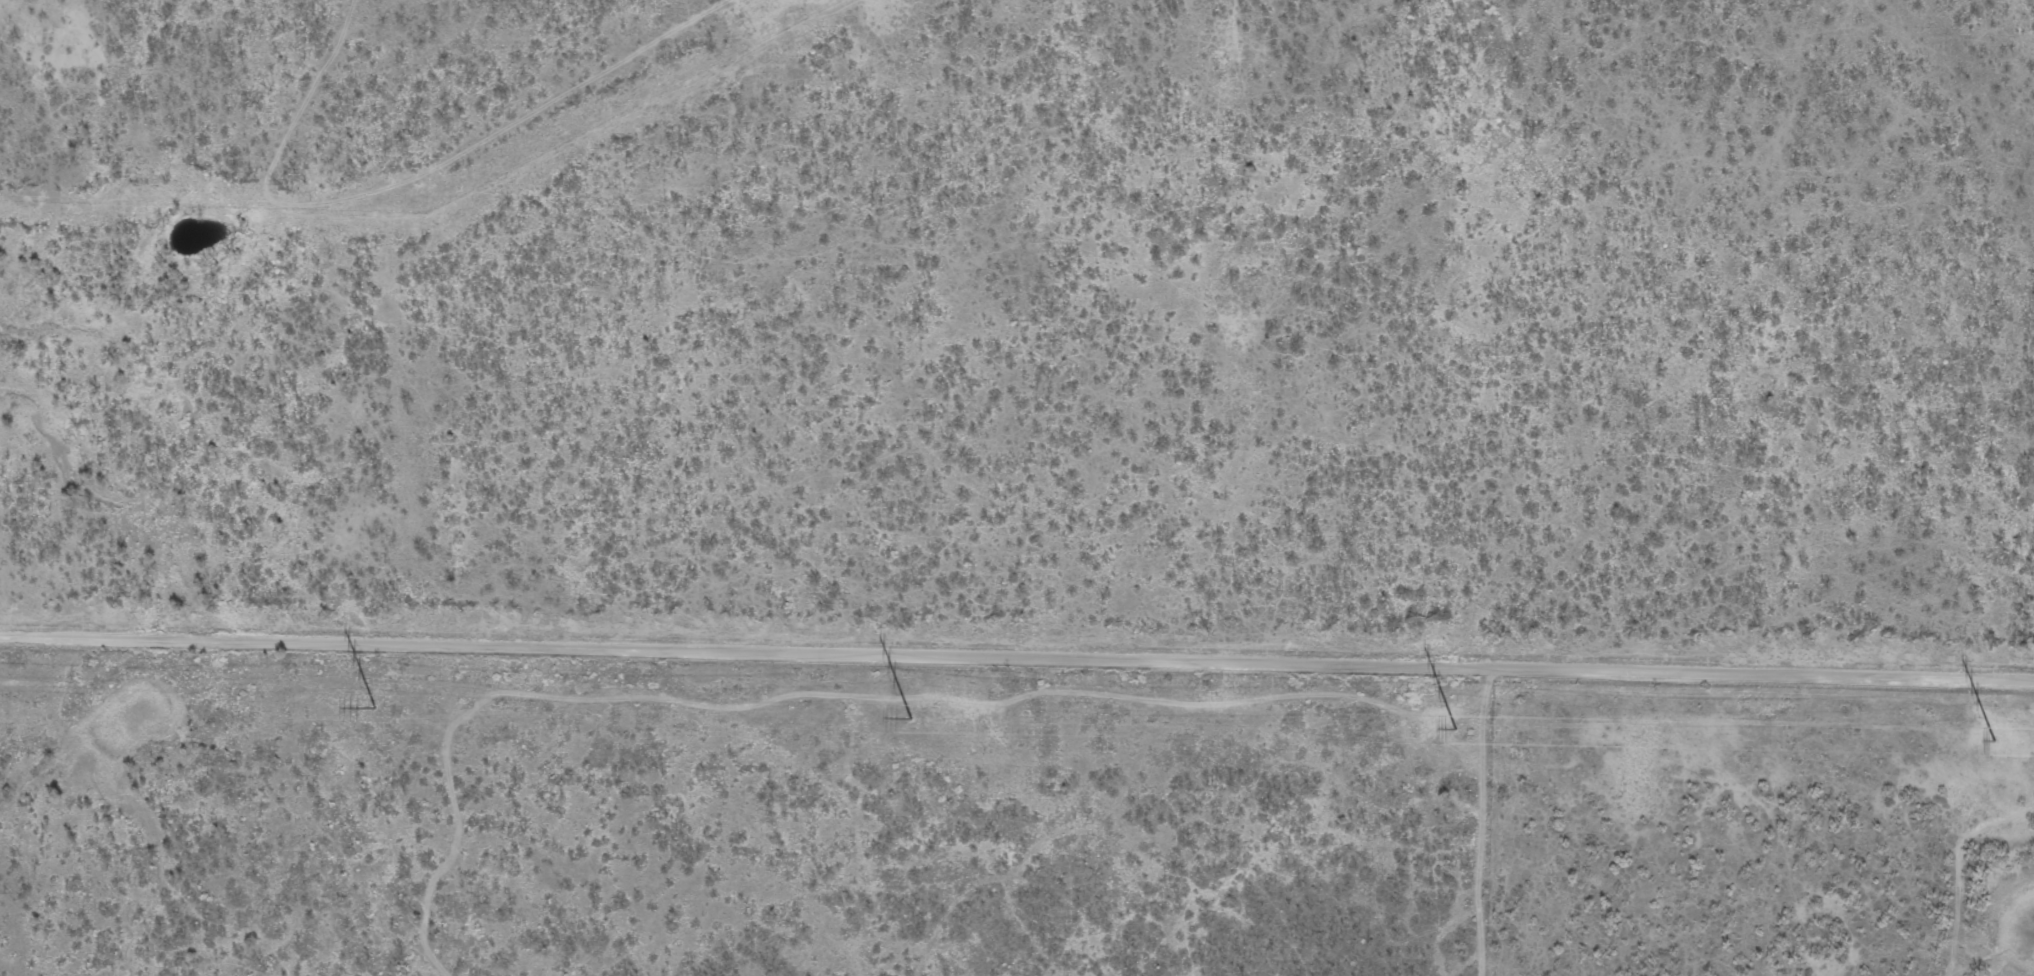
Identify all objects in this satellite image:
road: (406, 176)
road: (1017, 655)
power tower: (375, 707)
power tower: (912, 717)
power tower: (1457, 728)
power tower: (1996, 739)

